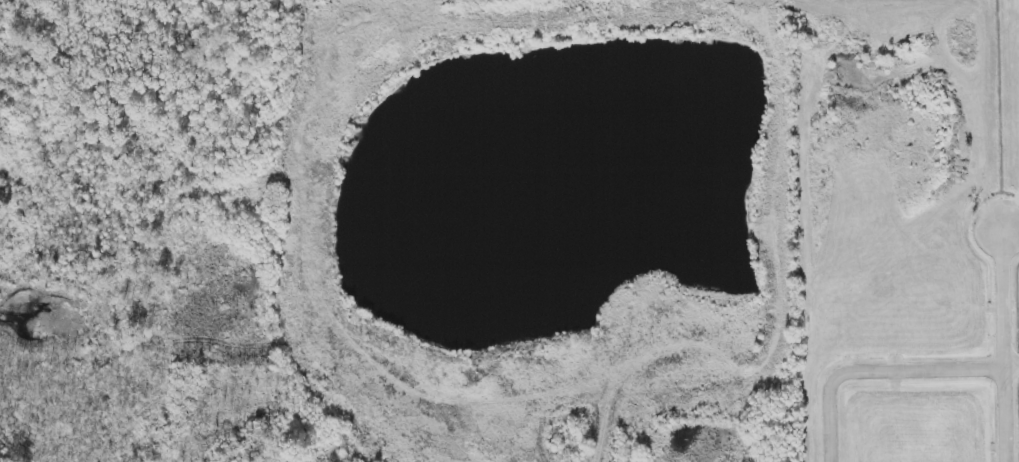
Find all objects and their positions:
road: (1006, 344)
road: (1013, 364)
road: (876, 371)

